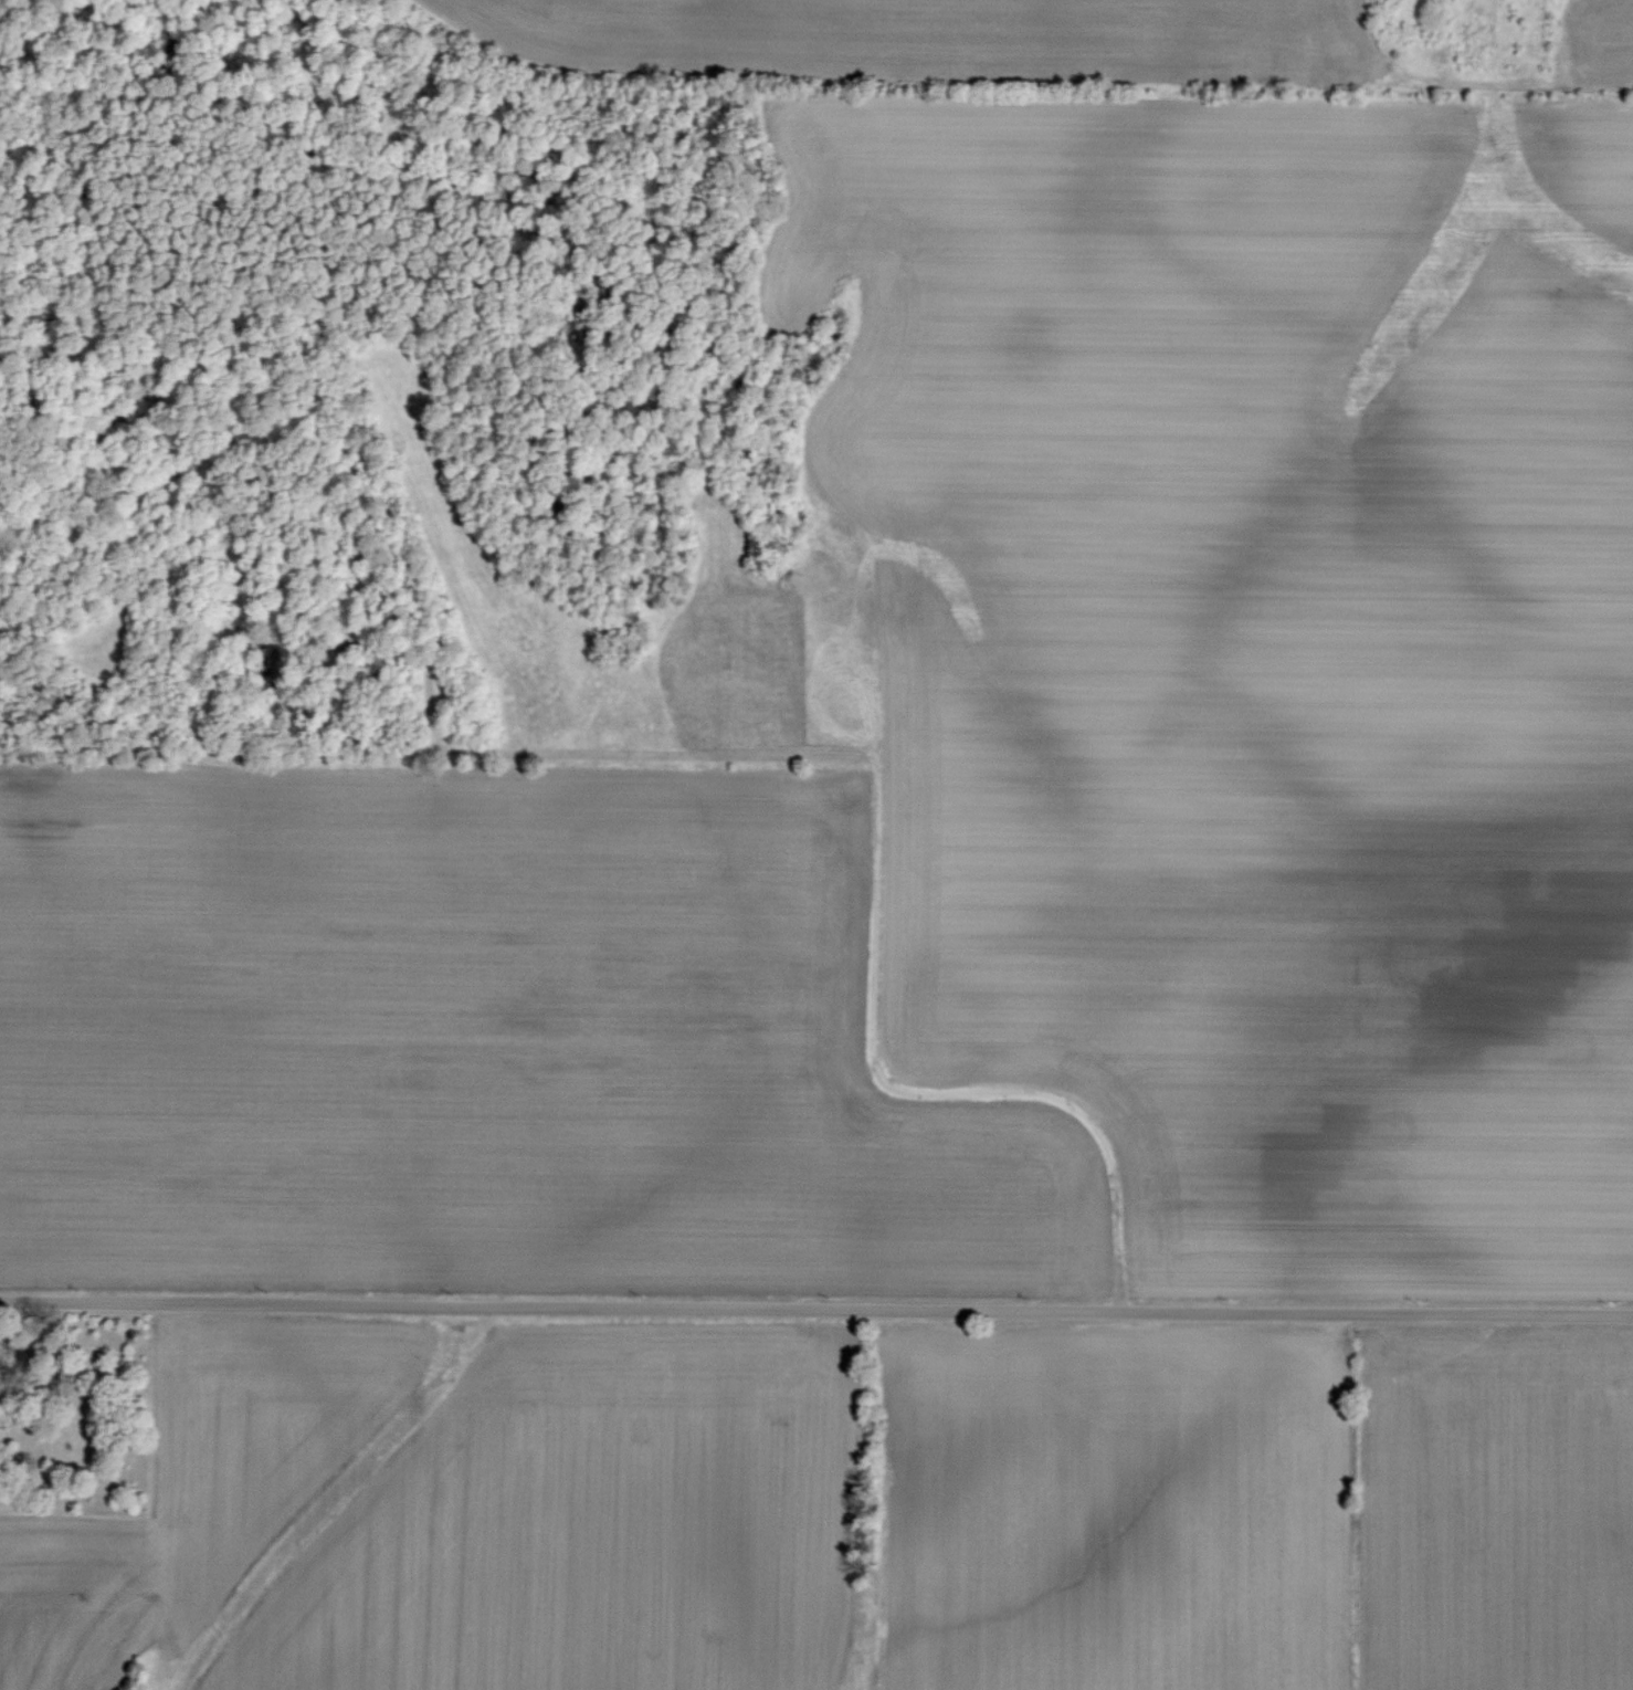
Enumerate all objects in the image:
road: (816, 1310)

